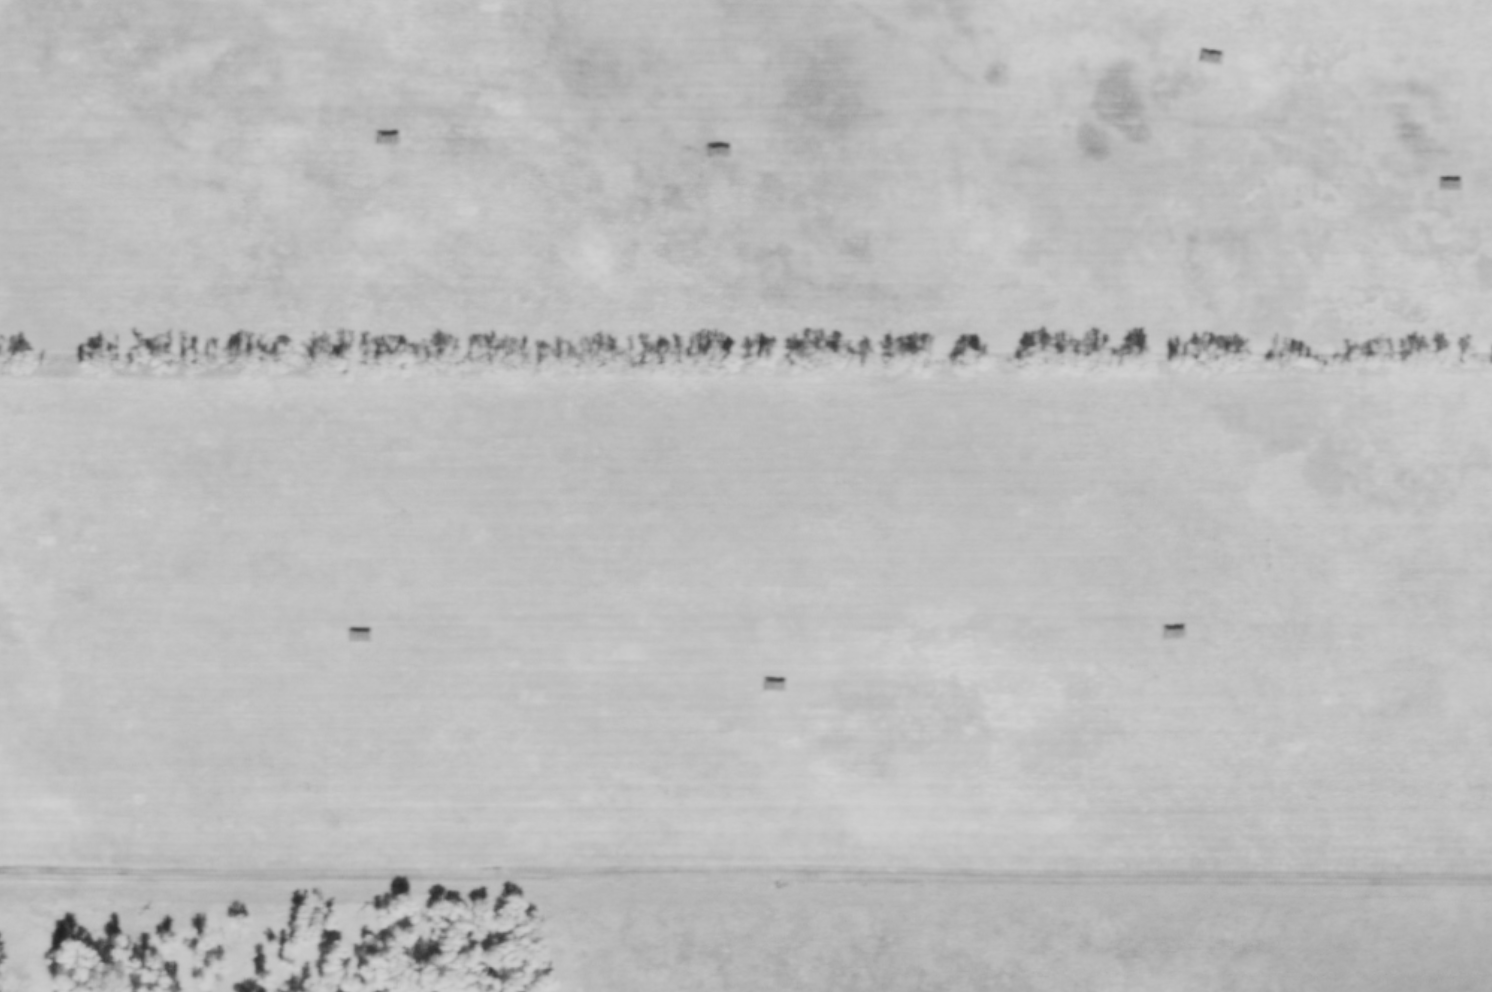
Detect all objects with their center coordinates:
road: (746, 873)

